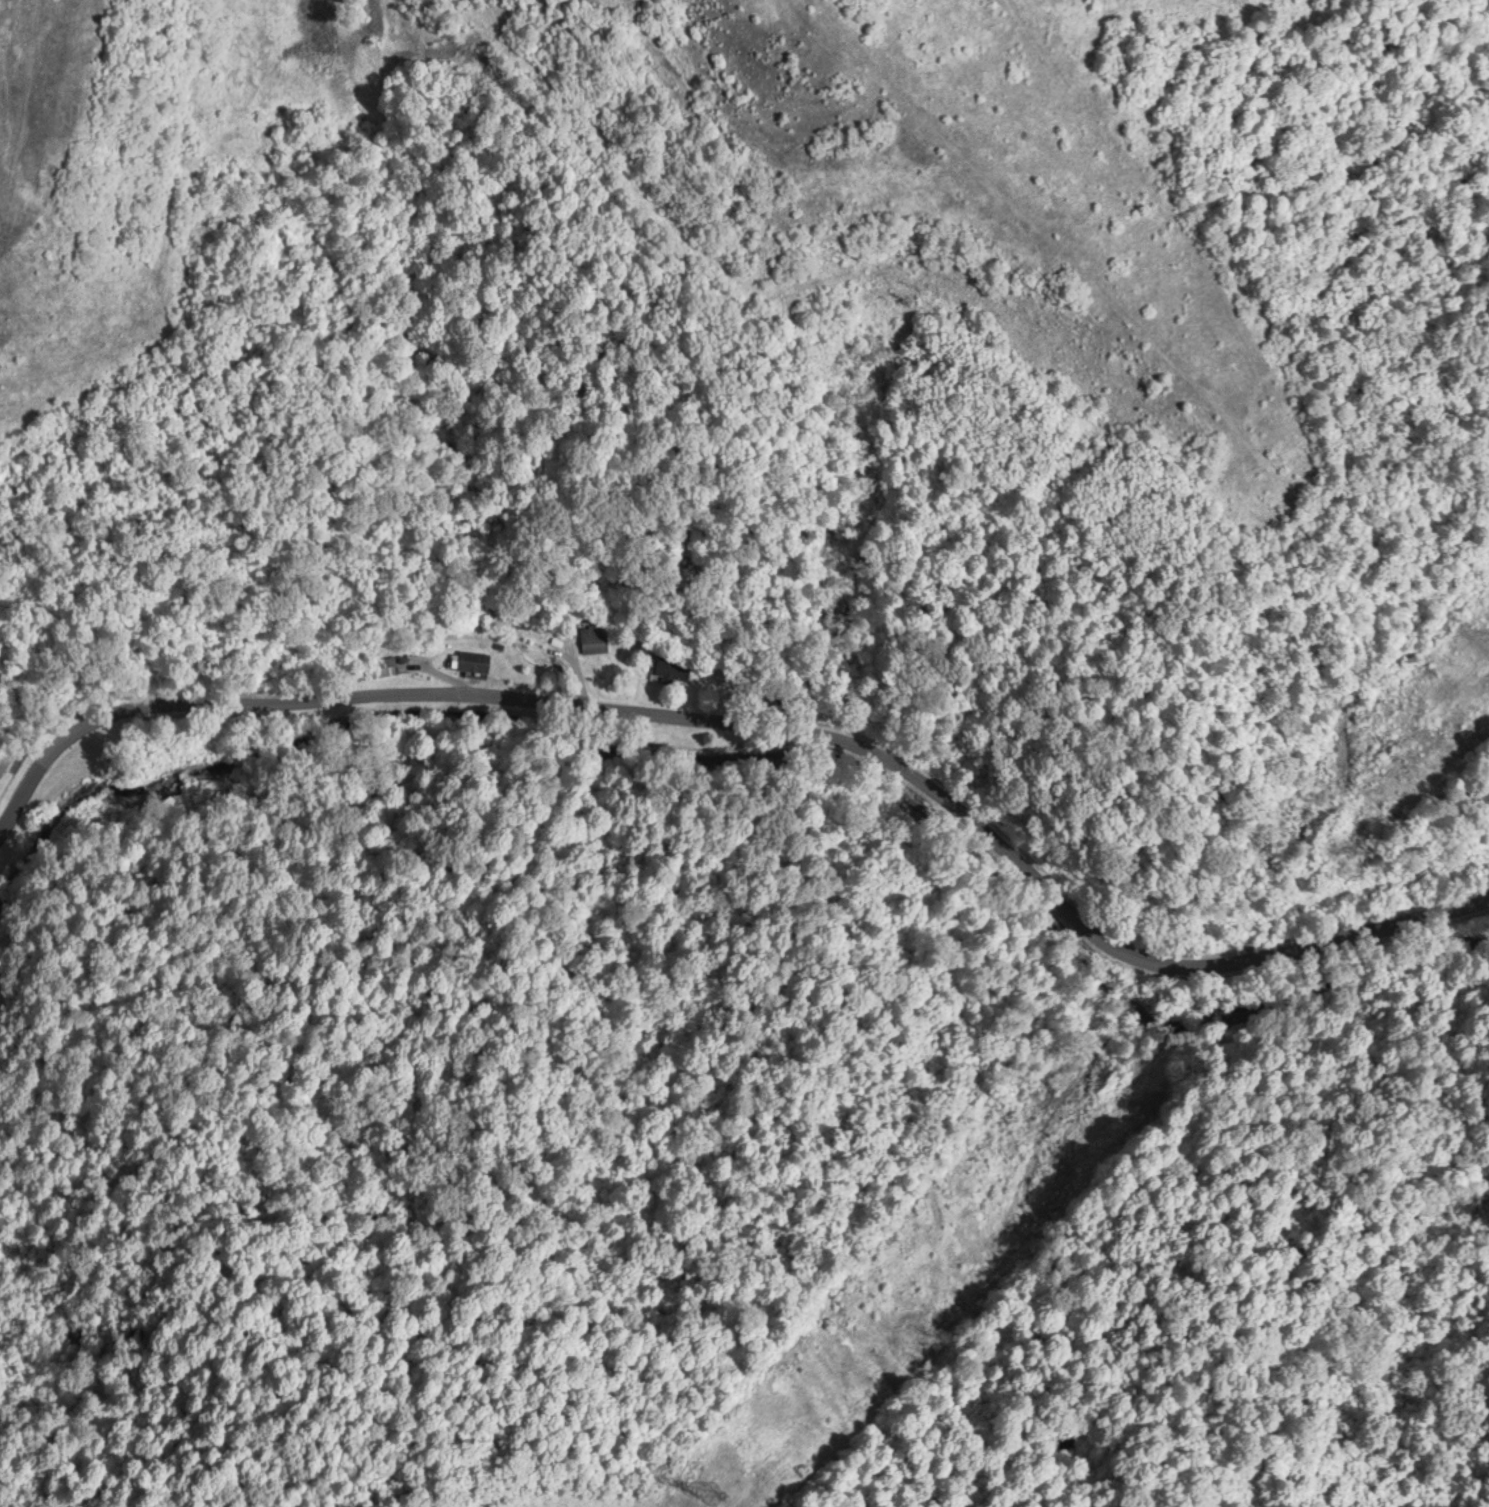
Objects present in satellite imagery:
building: (594, 638)
building: (475, 659)
building: (385, 664)
building: (674, 667)
road: (764, 705)
power tower: (717, 1480)

